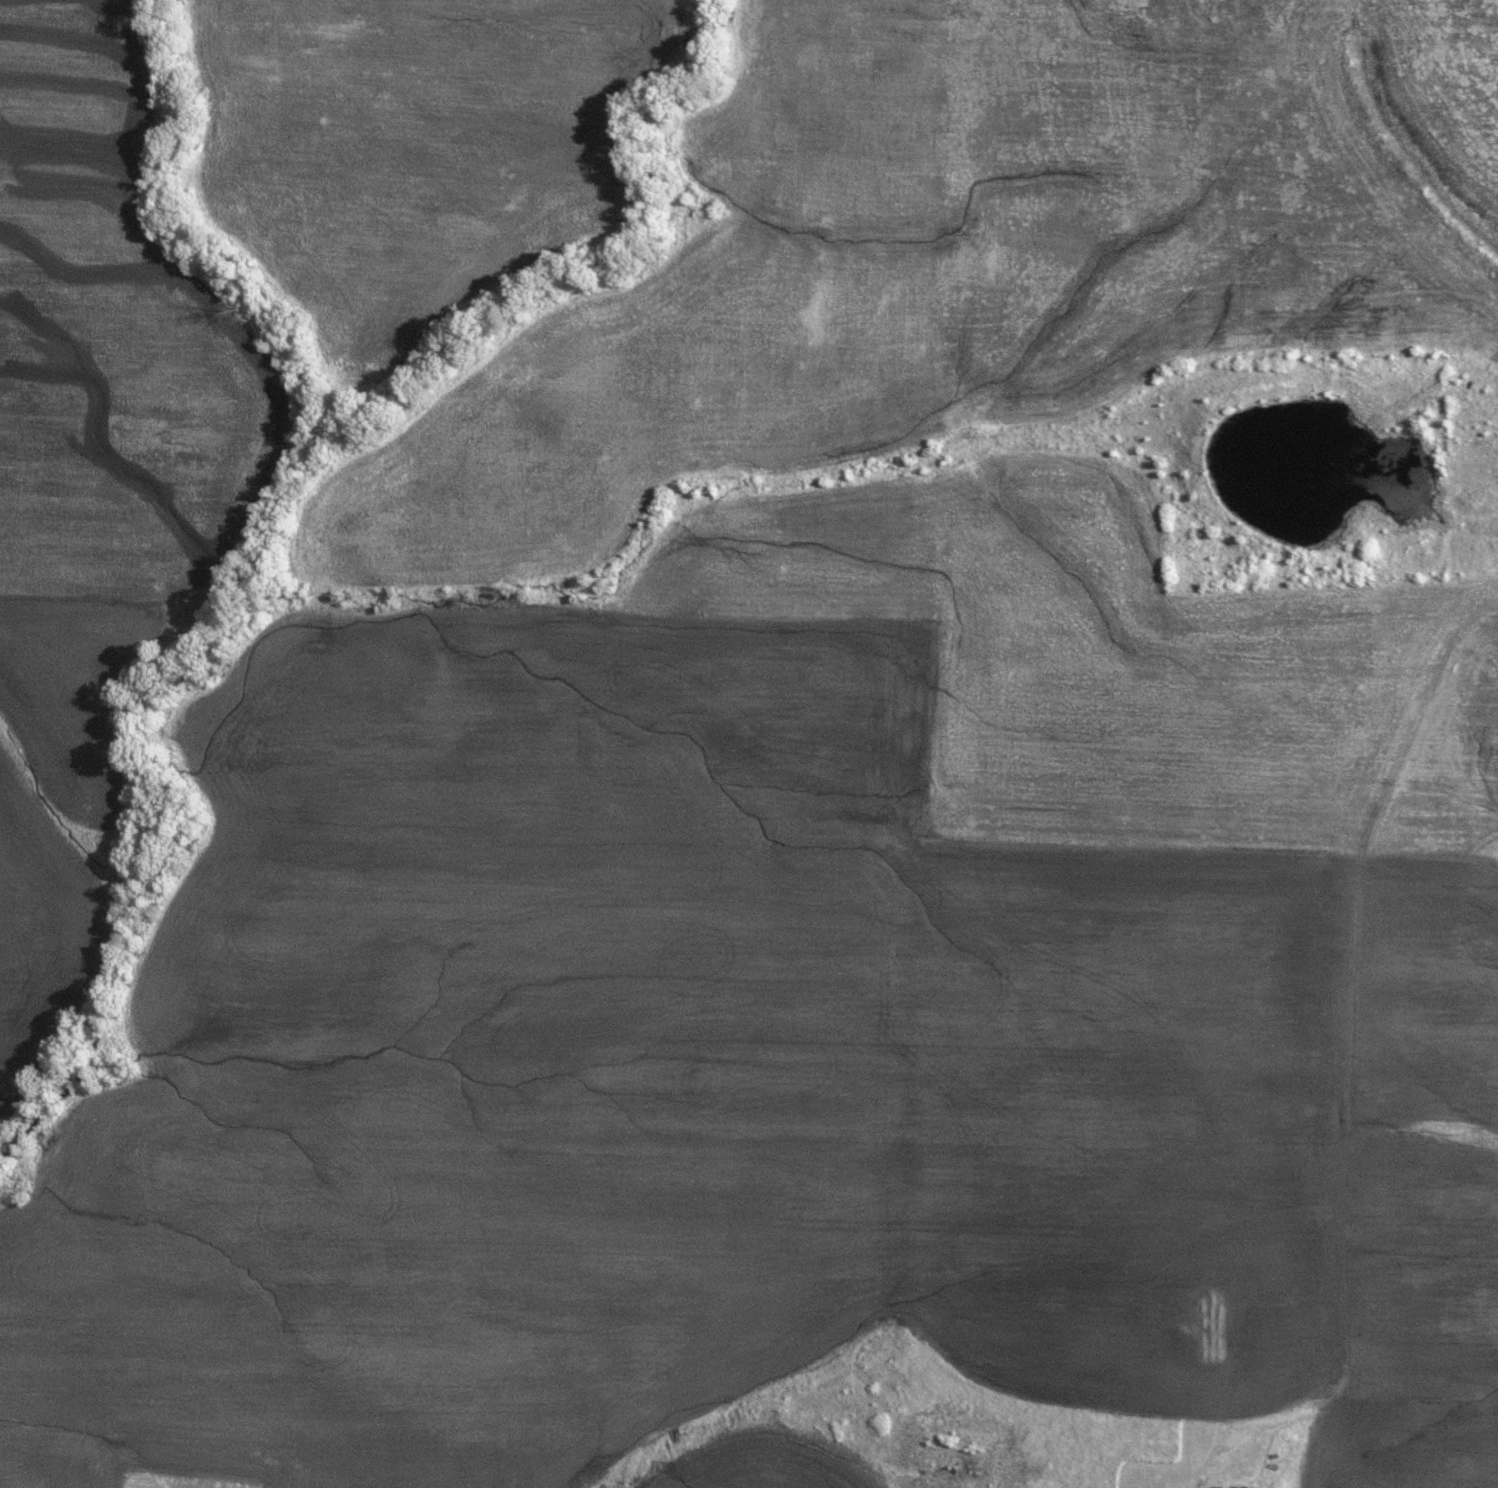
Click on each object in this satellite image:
building: (1223, 1487)

